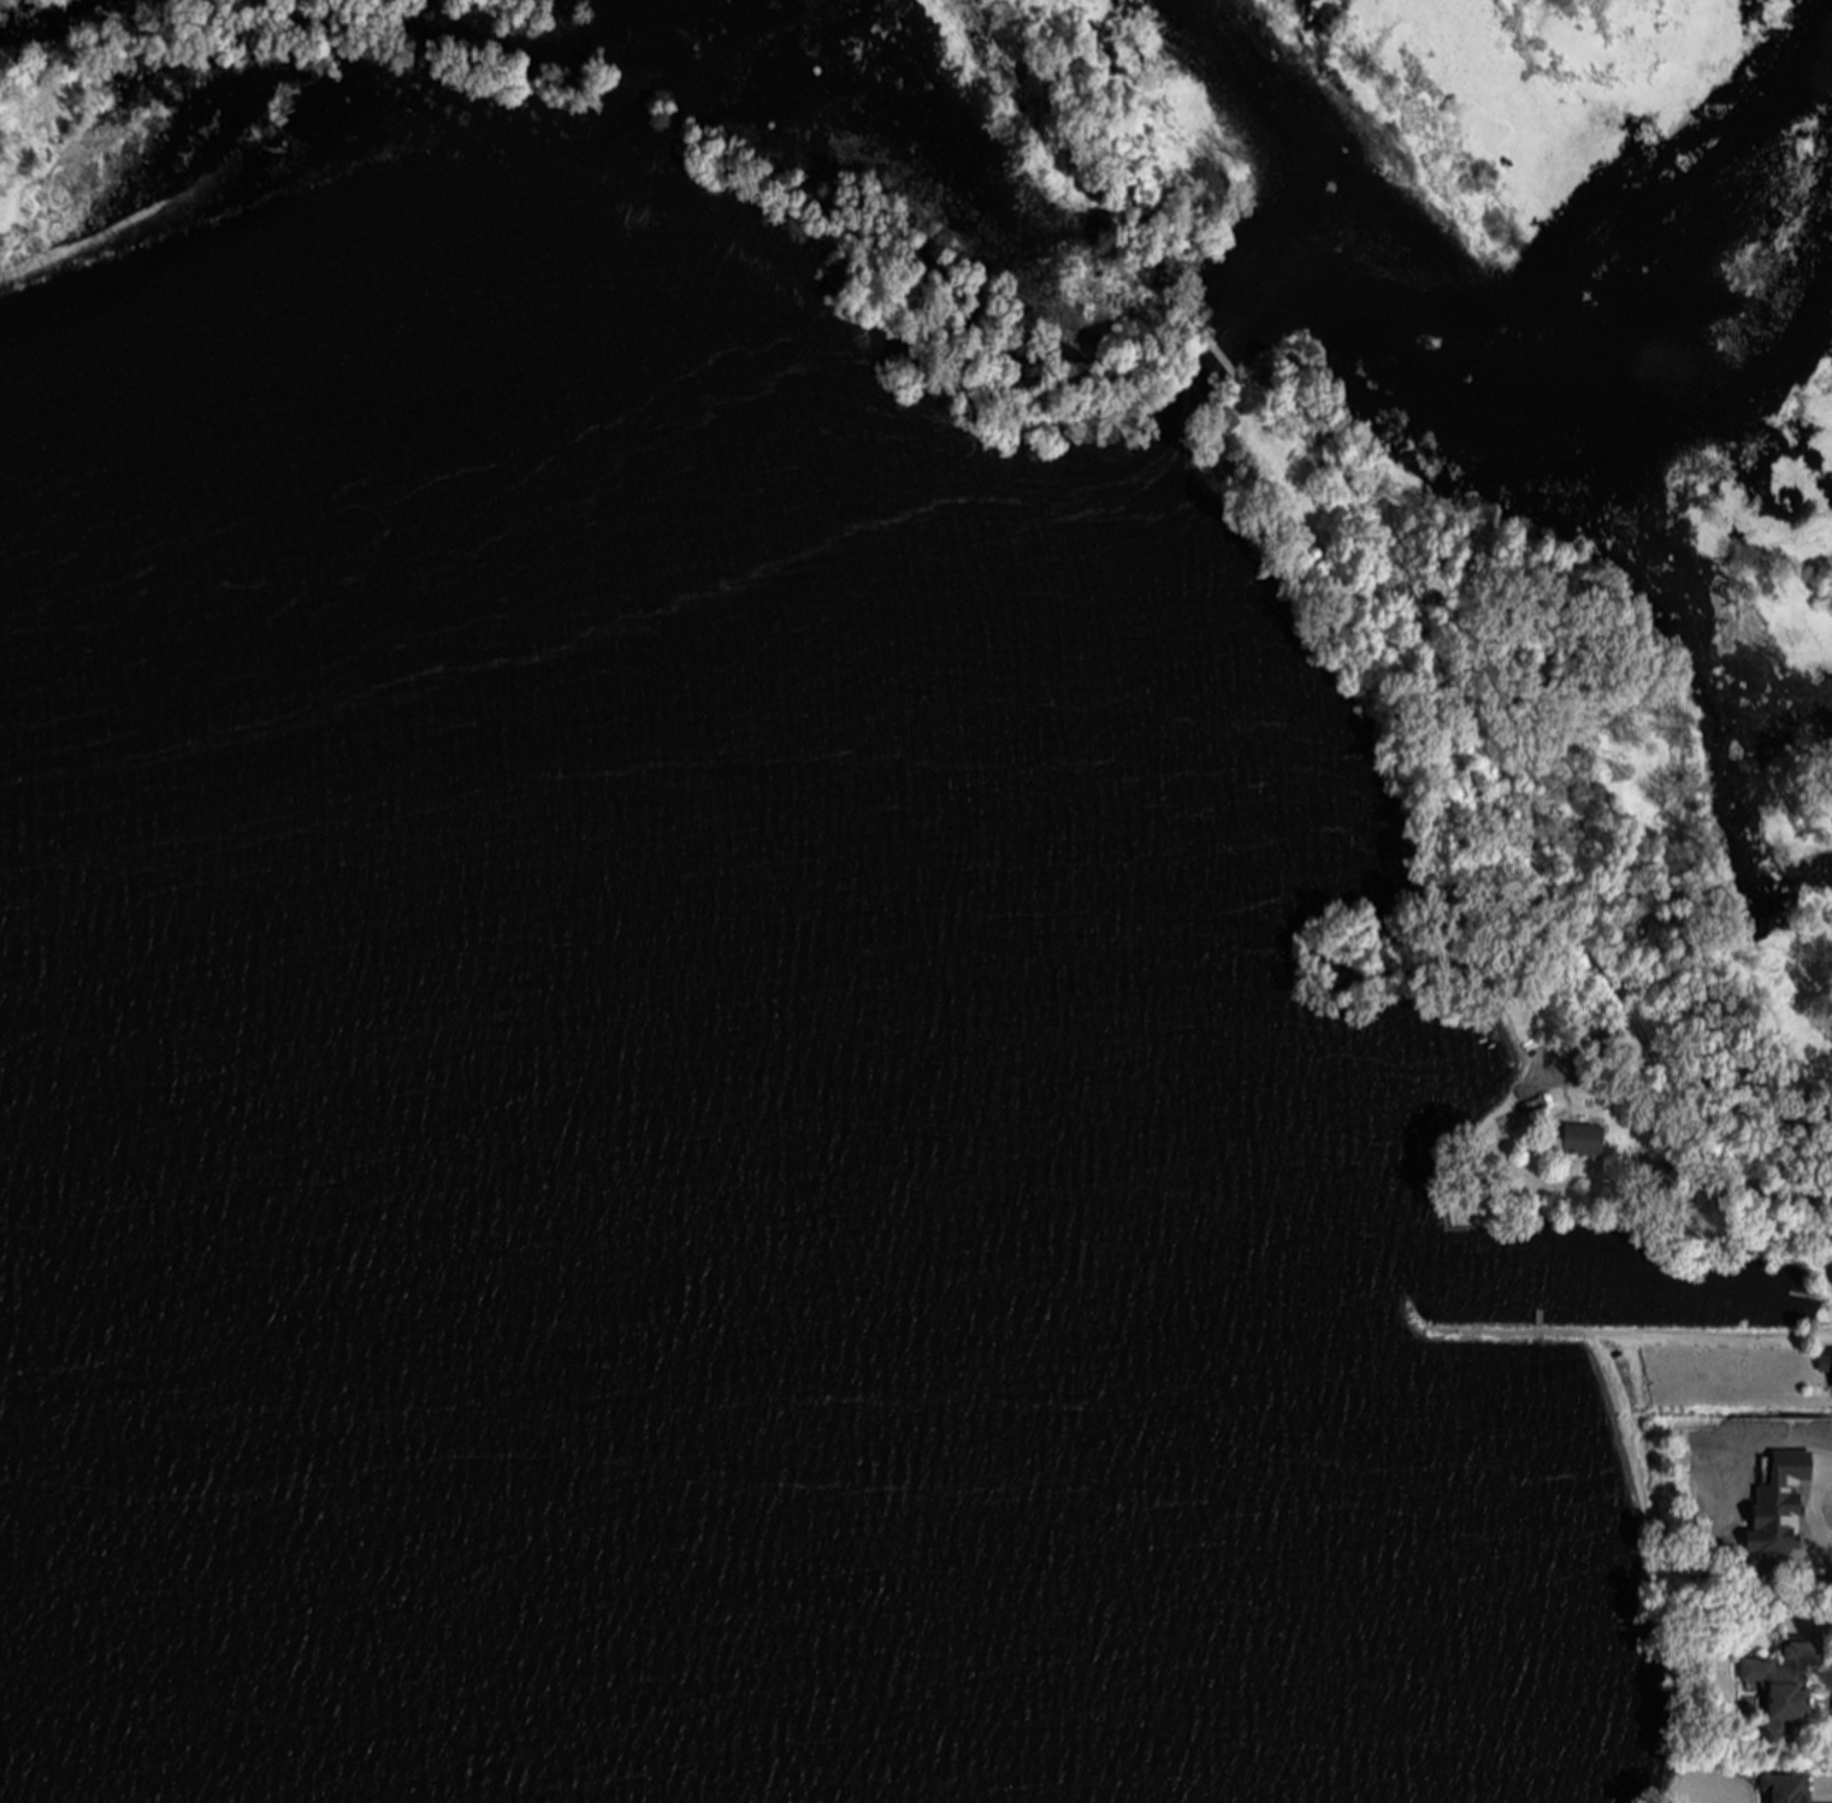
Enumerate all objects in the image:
building: (1615, 1044)
building: (1586, 1142)
building: (1827, 1367)
building: (1780, 1503)
road: (1819, 1511)
building: (1787, 1690)
building: (1787, 1789)

